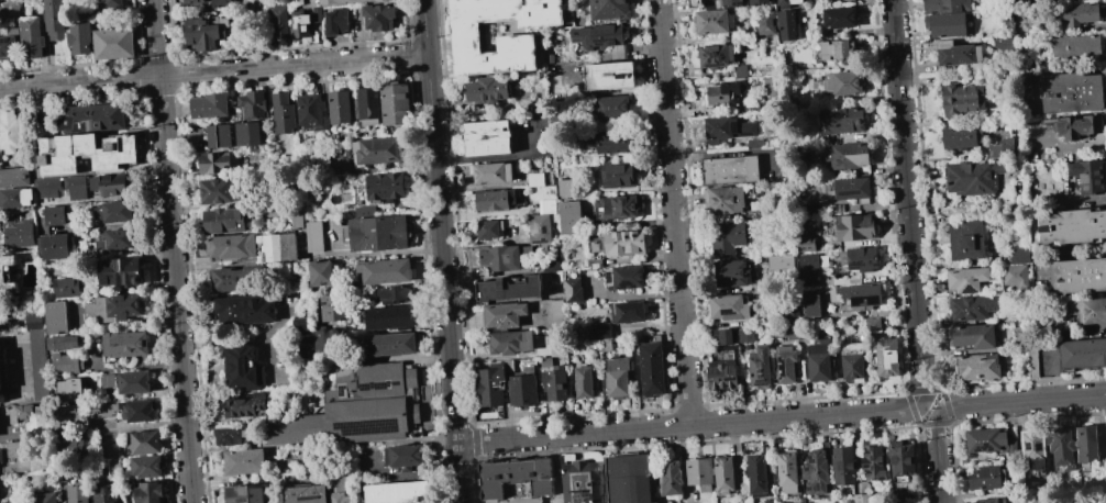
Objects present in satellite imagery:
building: (195, 1)
building: (349, 1)
building: (732, 2)
building: (760, 2)
building: (789, 2)
building: (113, 3)
building: (222, 3)
building: (695, 3)
building: (716, 3)
building: (610, 10)
building: (10, 11)
building: (1079, 14)
building: (318, 15)
building: (948, 16)
building: (380, 18)
building: (840, 18)
building: (280, 19)
building: (56, 20)
building: (715, 21)
building: (338, 22)
building: (301, 23)
building: (776, 23)
building: (356, 27)
building: (607, 27)
building: (204, 34)
building: (81, 37)
building: (317, 37)
building: (596, 38)
building: (31, 40)
building: (114, 43)
building: (517, 44)
building: (999, 44)
building: (1077, 46)
building: (8, 47)
building: (838, 49)
building: (959, 54)
building: (718, 55)
building: (1024, 64)
building: (741, 70)
road: (213, 72)
building: (1006, 75)
building: (610, 76)
building: (843, 83)
building: (770, 87)
building: (491, 89)
building: (1072, 92)
building: (722, 93)
building: (962, 100)
building: (396, 104)
building: (253, 105)
building: (369, 105)
building: (211, 107)
building: (340, 107)
building: (611, 108)
building: (284, 113)
building: (311, 113)
building: (95, 118)
building: (845, 120)
building: (1081, 126)
building: (728, 128)
building: (10, 131)
building: (252, 134)
building: (220, 136)
building: (488, 137)
building: (963, 138)
building: (609, 142)
building: (755, 144)
building: (1005, 148)
building: (378, 150)
building: (809, 152)
building: (86, 154)
building: (848, 155)
building: (218, 163)
building: (731, 170)
building: (490, 174)
building: (619, 174)
building: (15, 177)
building: (1088, 177)
building: (970, 178)
building: (537, 179)
building: (76, 182)
building: (47, 185)
building: (109, 185)
building: (387, 187)
building: (566, 187)
building: (849, 189)
building: (220, 191)
building: (15, 198)
building: (496, 199)
building: (725, 200)
road: (909, 200)
building: (543, 205)
building: (619, 206)
building: (814, 208)
building: (838, 208)
building: (114, 212)
building: (288, 212)
road: (674, 213)
building: (59, 215)
building: (571, 217)
building: (224, 221)
building: (854, 226)
building: (1073, 227)
building: (494, 228)
building: (540, 230)
building: (380, 233)
building: (21, 235)
building: (729, 236)
building: (316, 237)
building: (114, 239)
building: (967, 241)
building: (626, 242)
building: (595, 246)
building: (55, 247)
building: (232, 247)
building: (279, 247)
building: (808, 247)
road: (174, 250)
road: (443, 251)
building: (1020, 255)
building: (504, 257)
building: (860, 259)
building: (595, 264)
building: (121, 271)
building: (386, 271)
building: (321, 273)
building: (733, 273)
building: (1016, 275)
building: (7, 276)
building: (1079, 276)
building: (627, 277)
building: (229, 278)
building: (806, 279)
building: (969, 279)
building: (68, 287)
building: (510, 290)
building: (573, 290)
building: (396, 293)
building: (862, 295)
building: (812, 306)
building: (115, 308)
building: (330, 308)
building: (730, 308)
building: (975, 308)
building: (247, 310)
building: (1090, 311)
building: (556, 312)
building: (629, 312)
building: (794, 314)
building: (56, 317)
building: (391, 318)
building: (35, 322)
building: (873, 325)
road: (1095, 326)
building: (508, 328)
building: (785, 329)
building: (597, 335)
building: (746, 335)
building: (725, 337)
building: (975, 337)
building: (324, 340)
building: (60, 342)
building: (126, 344)
building: (303, 344)
building: (390, 345)
building: (1031, 349)
building: (1082, 354)
building: (886, 357)
building: (546, 362)
building: (854, 362)
building: (68, 364)
building: (787, 364)
building: (818, 364)
building: (509, 366)
building: (978, 366)
building: (244, 367)
building: (761, 367)
building: (651, 369)
road: (1057, 370)
building: (723, 375)
building: (619, 376)
building: (108, 380)
building: (134, 382)
building: (586, 382)
building: (0, 383)
building: (555, 383)
building: (491, 387)
building: (69, 390)
building: (523, 390)
road: (1022, 399)
building: (244, 406)
road: (932, 407)
building: (112, 409)
building: (357, 409)
building: (139, 411)
building: (71, 413)
building: (32, 417)
road: (690, 426)
building: (231, 436)
building: (988, 440)
building: (146, 443)
building: (1087, 445)
building: (70, 446)
building: (1062, 446)
building: (1033, 447)
building: (14, 448)
building: (108, 451)
road: (319, 451)
building: (1, 456)
building: (405, 457)
road: (938, 457)
building: (903, 458)
building: (245, 461)
building: (873, 461)
building: (844, 466)
building: (147, 467)
building: (788, 472)
building: (817, 473)
building: (714, 474)
building: (757, 474)
building: (672, 478)
building: (985, 478)
building: (518, 479)
building: (632, 479)
building: (583, 482)
building: (339, 483)
building: (859, 485)
building: (394, 492)
building: (104, 493)
building: (151, 493)
building: (247, 493)
building: (899, 493)
building: (78, 494)
building: (306, 494)
building: (45, 498)
building: (862, 498)
building: (517, 500)
building: (837, 500)
building: (1014, 500)
building: (748, 501)
building: (768, 501)
building: (986, 501)

